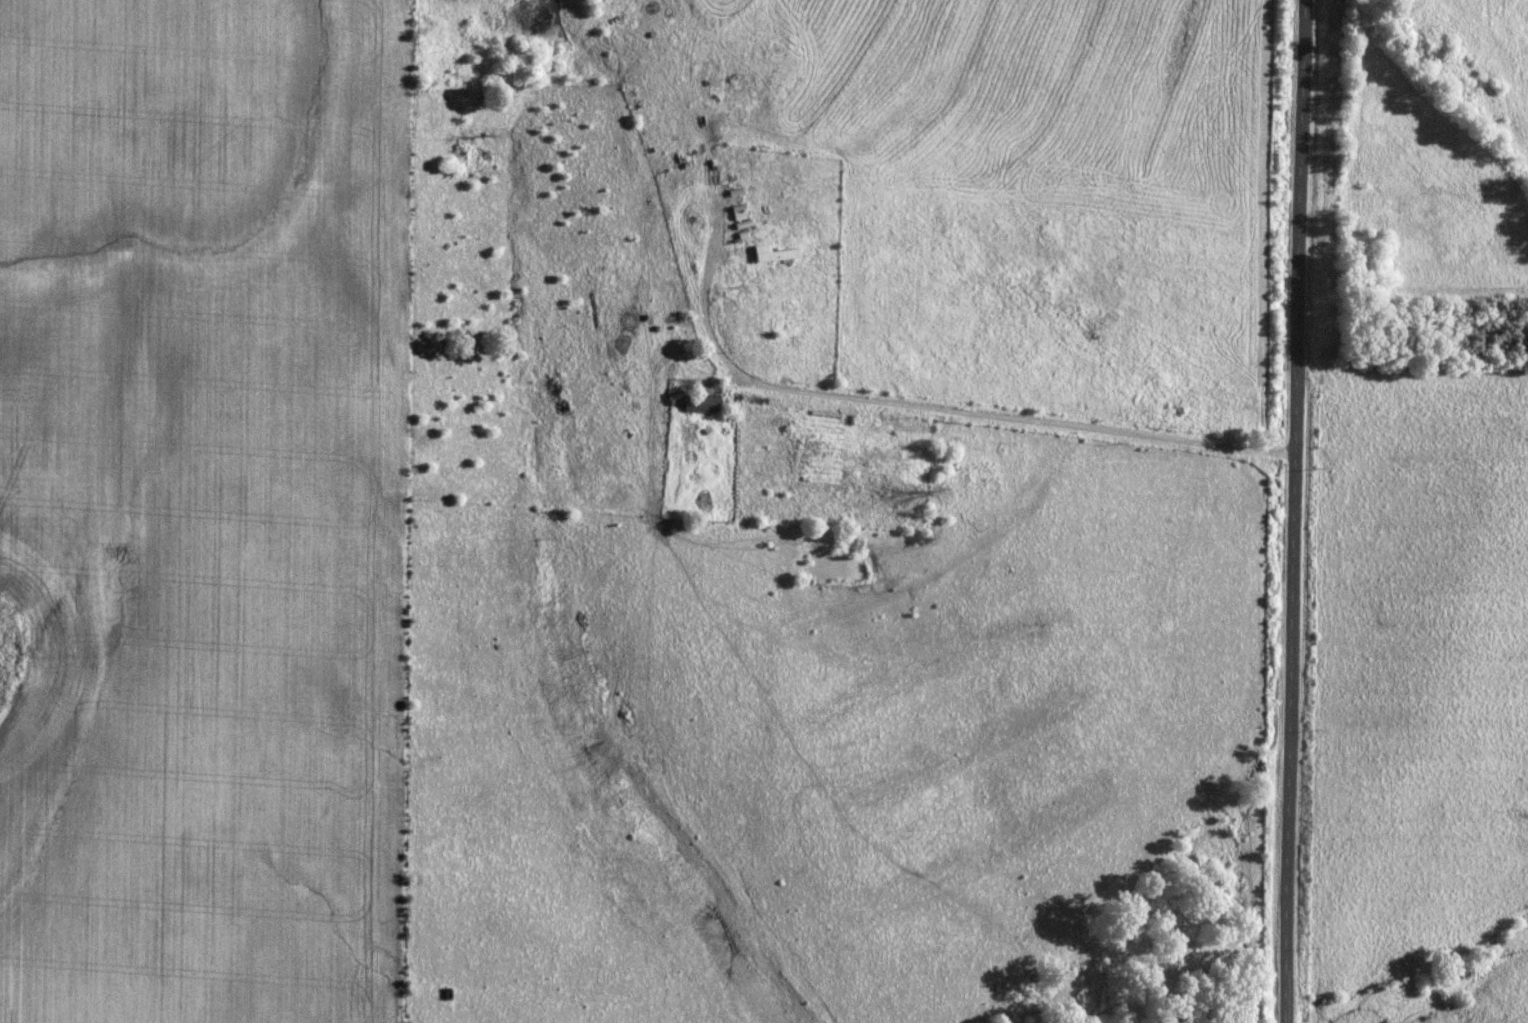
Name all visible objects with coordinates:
building: (774, 255)
building: (788, 328)
building: (699, 404)
road: (993, 416)
road: (1290, 511)

